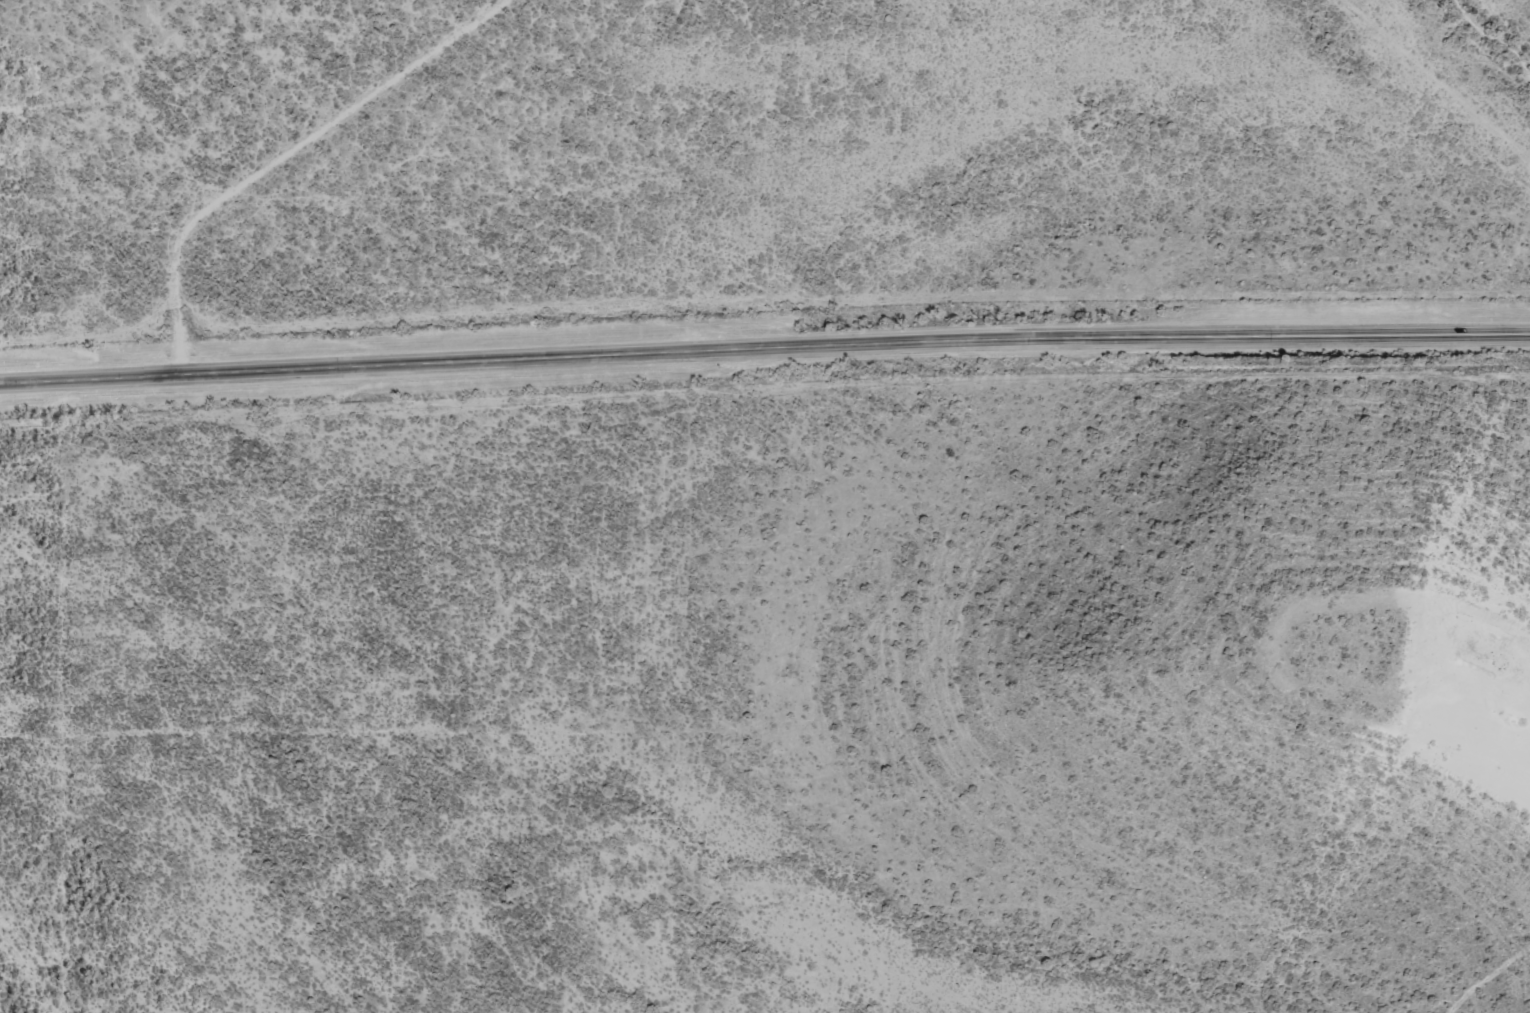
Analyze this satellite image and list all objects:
road: (764, 349)

